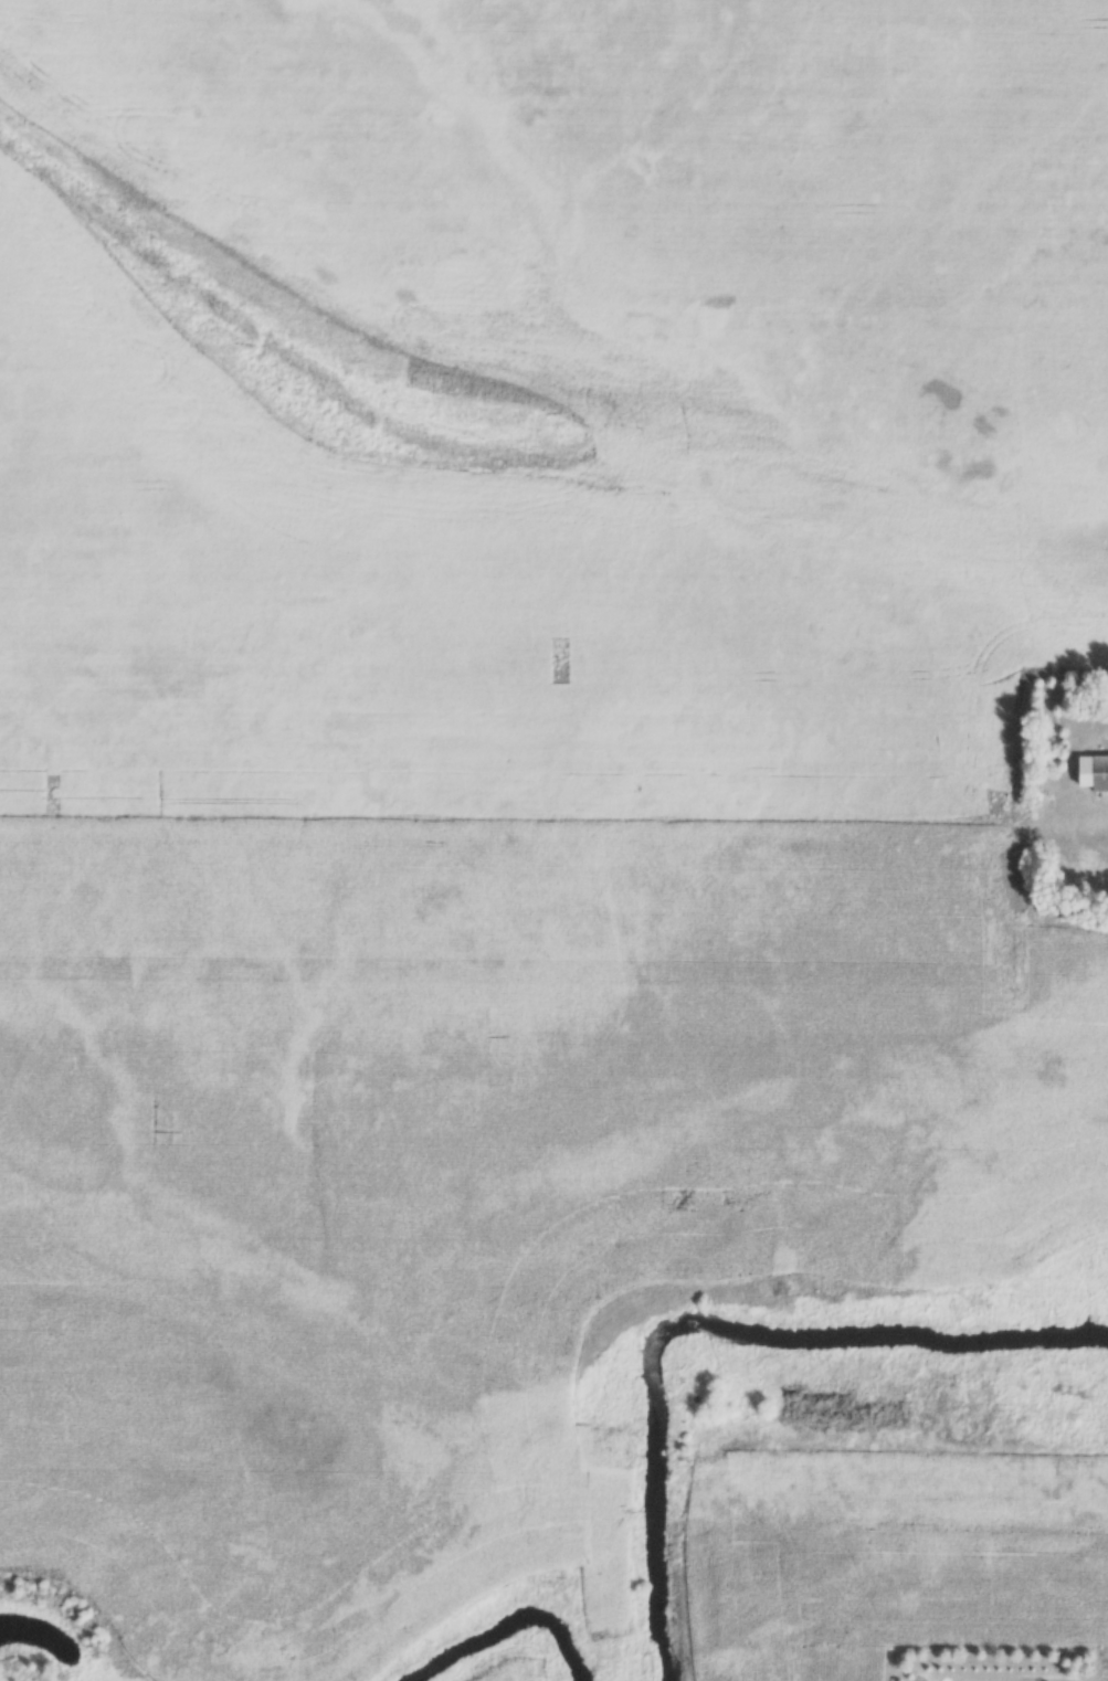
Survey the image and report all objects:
building: (1094, 774)

